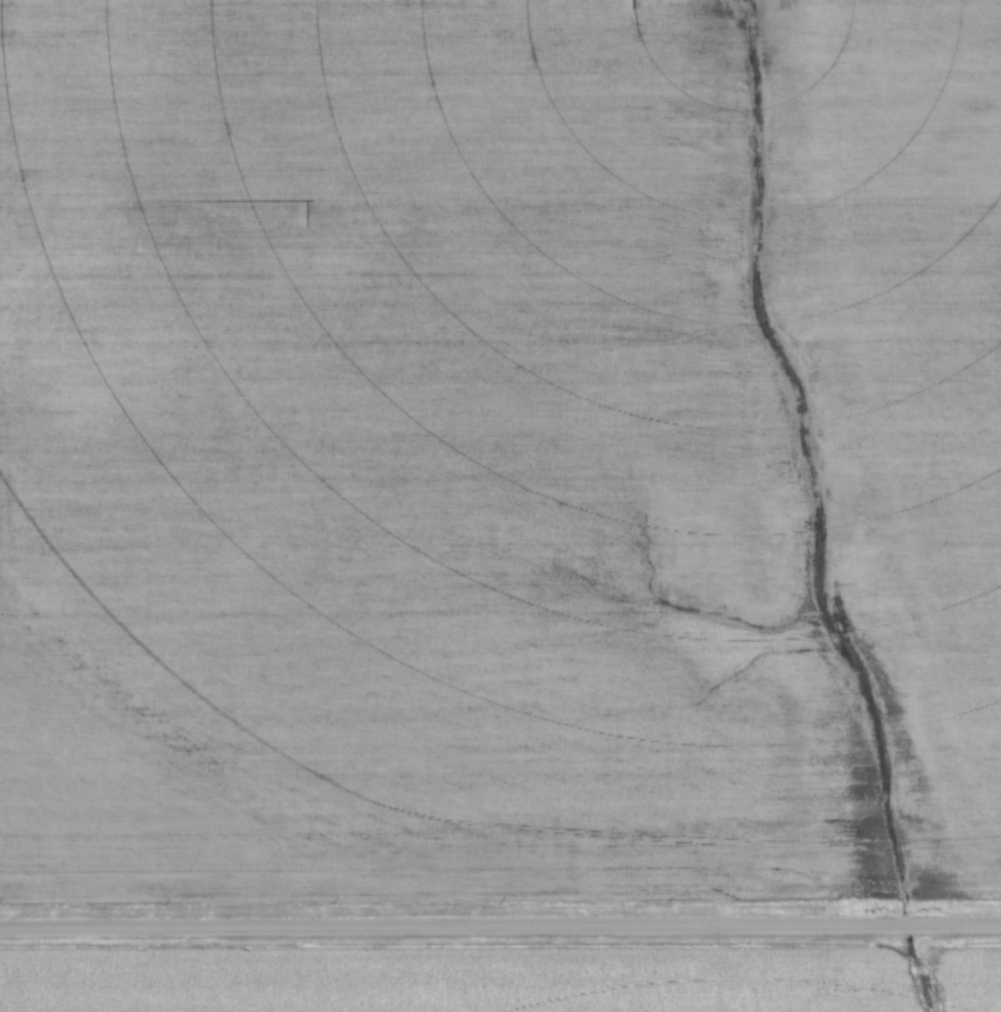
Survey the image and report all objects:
road: (500, 931)

